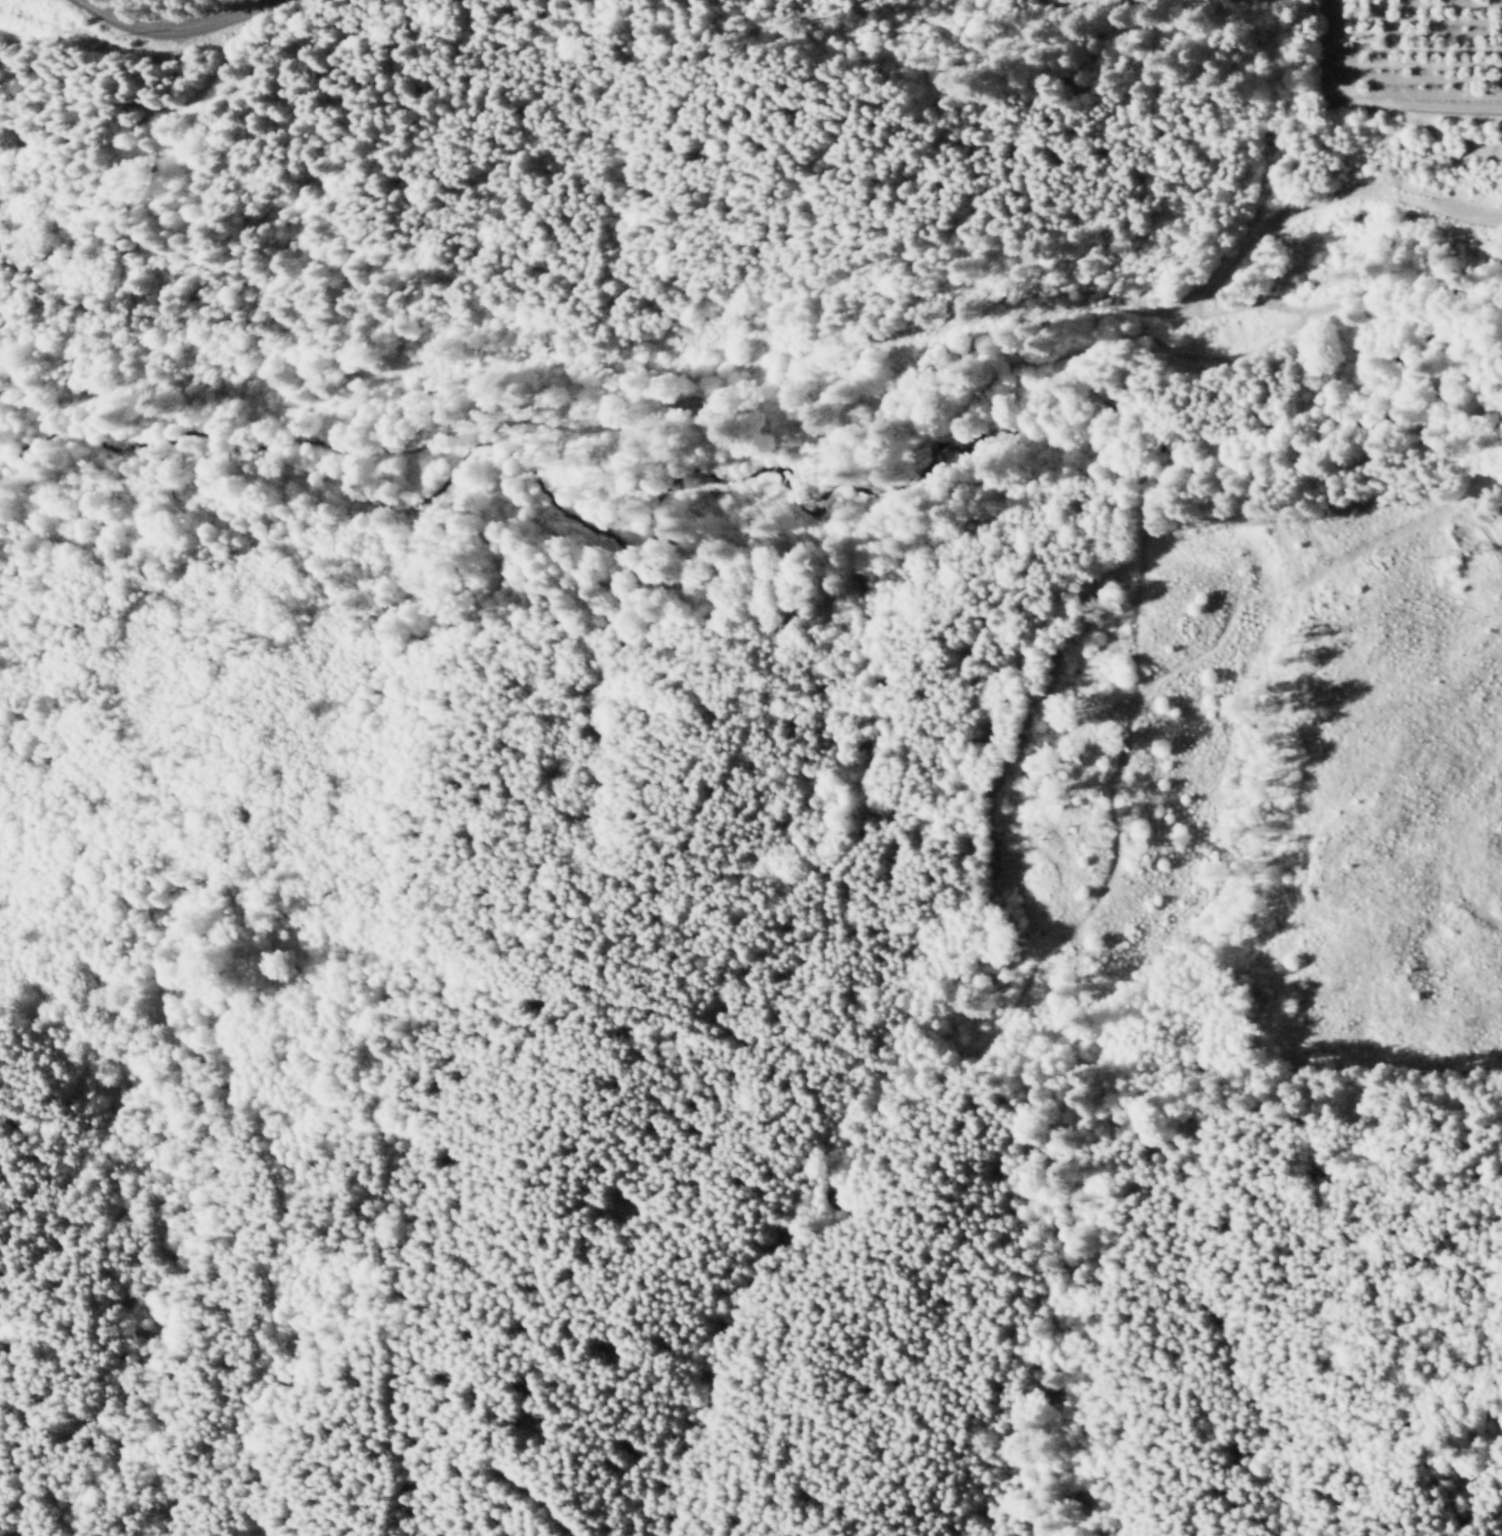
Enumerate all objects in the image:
road: (177, 23)
road: (1159, 310)
road: (529, 1488)

